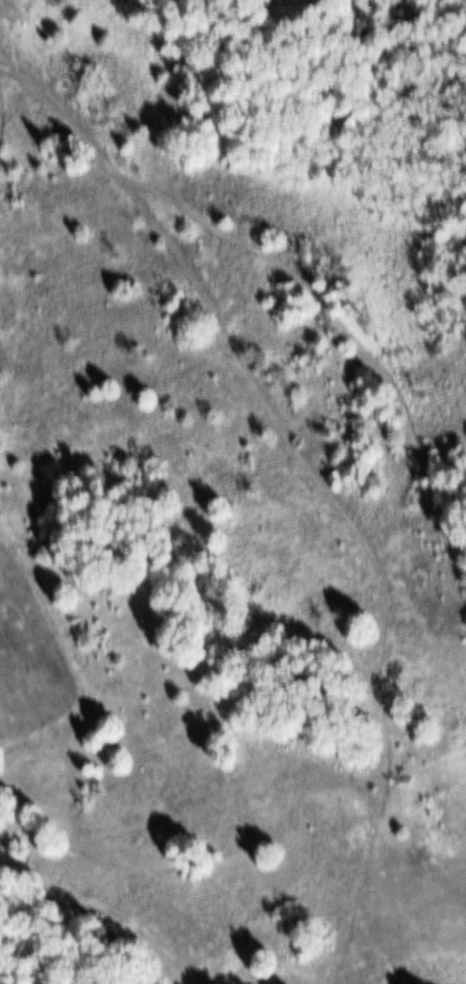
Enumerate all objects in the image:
road: (266, 245)

